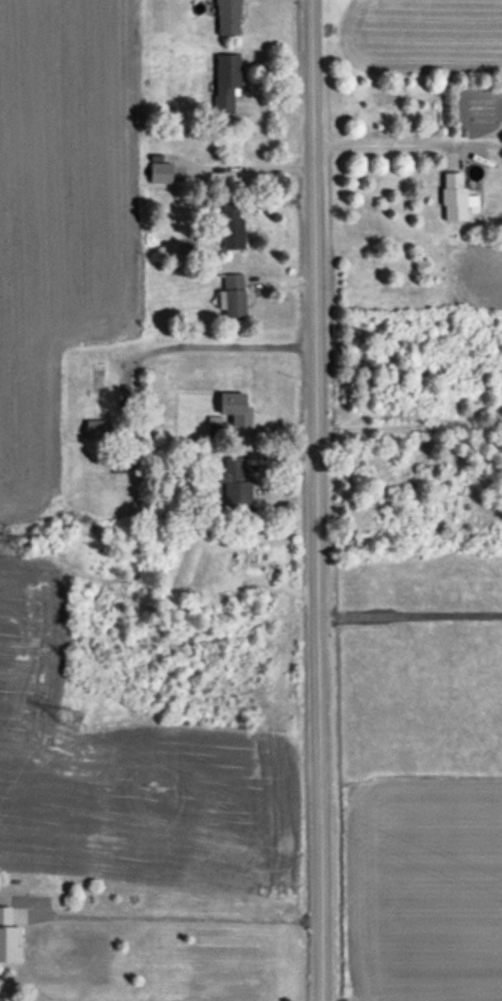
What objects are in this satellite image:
building: (227, 17)
building: (226, 82)
road: (385, 144)
building: (160, 172)
building: (455, 197)
building: (232, 227)
building: (232, 296)
road: (210, 347)
building: (235, 408)
road: (414, 426)
building: (98, 429)
building: (237, 484)
road: (315, 500)
road: (409, 616)
road: (180, 919)

